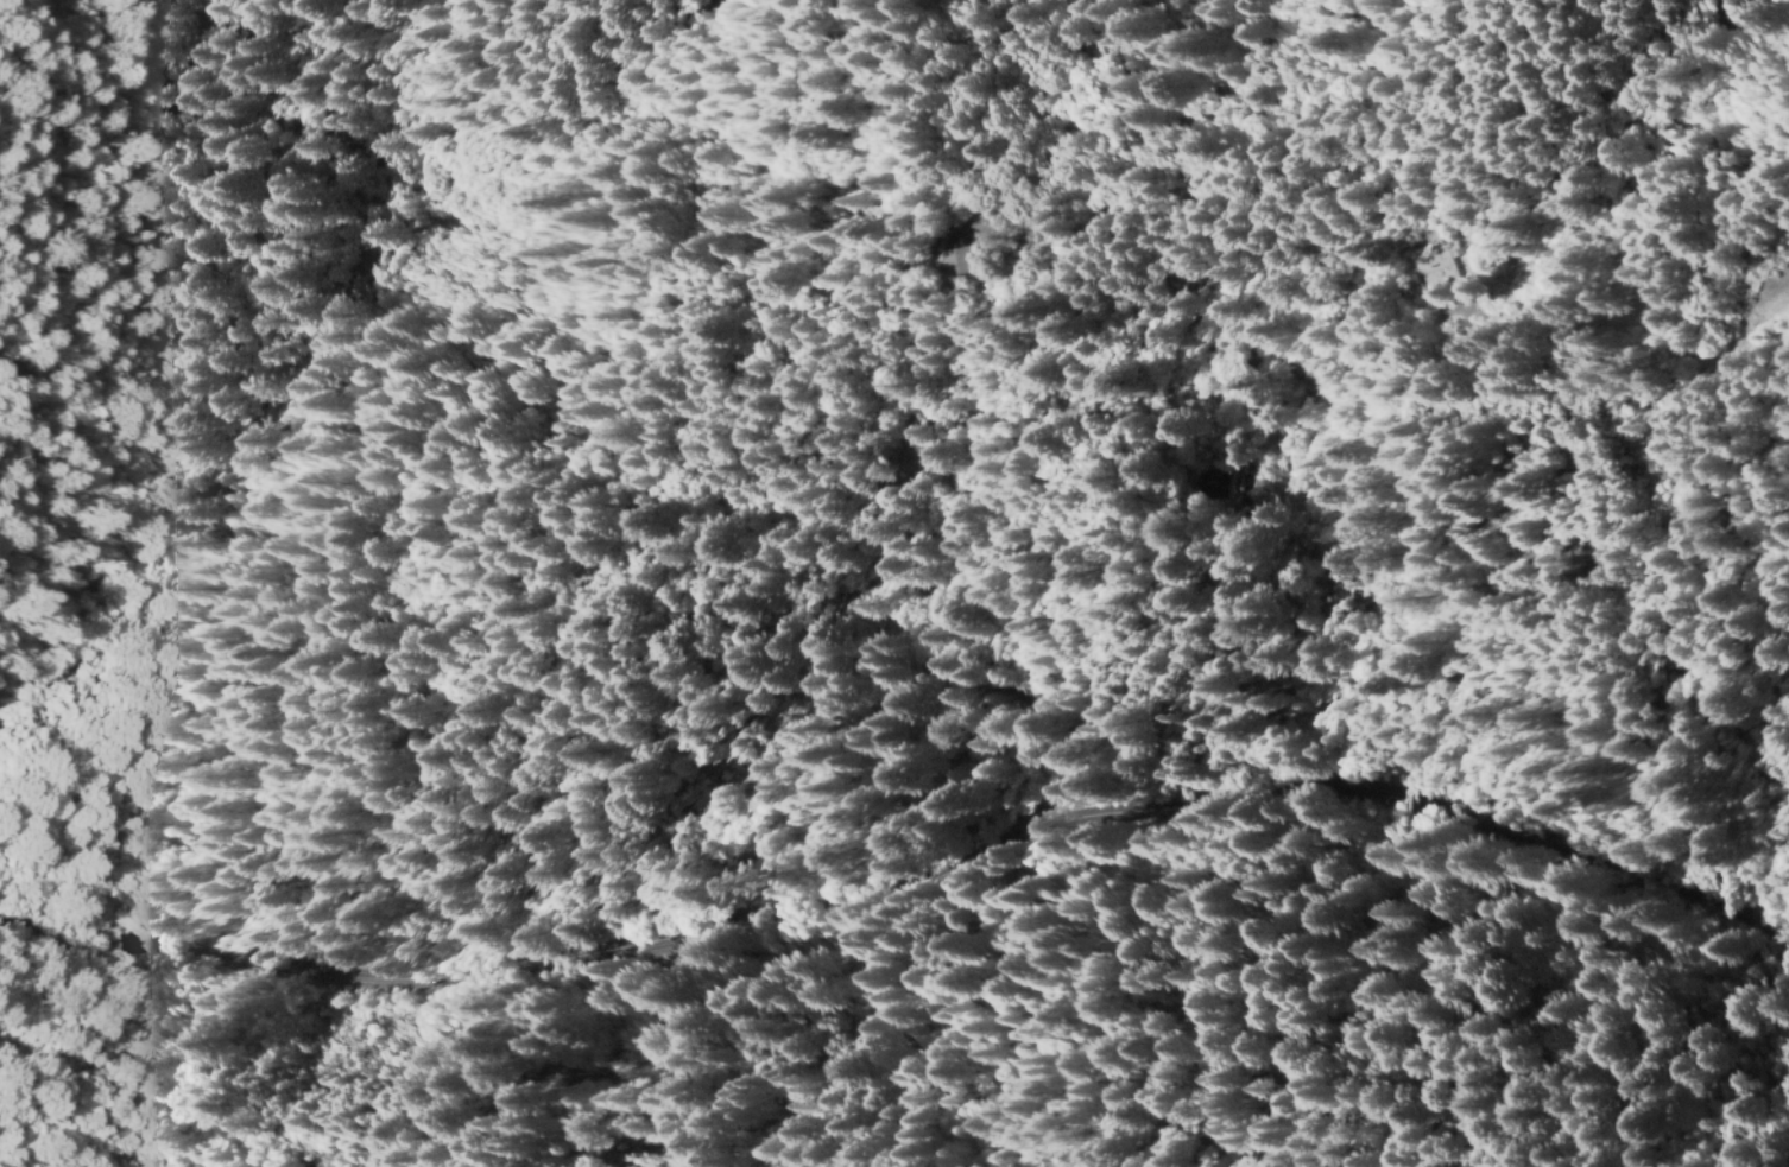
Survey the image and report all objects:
road: (1781, 13)
building: (978, 220)
building: (962, 259)
building: (1447, 262)
road: (1592, 293)
building: (1551, 418)
road: (1535, 655)
building: (814, 693)
building: (709, 768)
building: (771, 774)
building: (748, 782)
building: (739, 786)
building: (690, 787)
building: (662, 811)
road: (905, 869)

